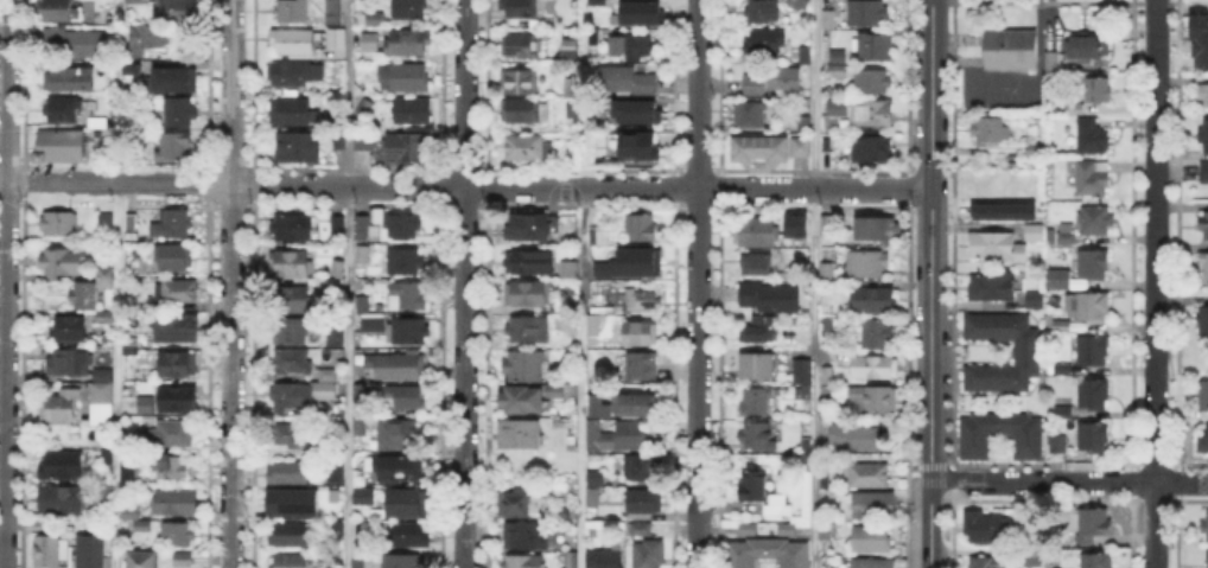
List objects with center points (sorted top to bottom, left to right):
building: (597, 1)
building: (138, 2)
building: (800, 5)
building: (62, 9)
building: (519, 9)
building: (178, 11)
building: (333, 11)
building: (411, 11)
building: (293, 12)
building: (641, 13)
building: (759, 13)
building: (867, 14)
building: (375, 19)
building: (829, 21)
building: (593, 37)
building: (1201, 37)
building: (147, 38)
building: (337, 39)
building: (765, 42)
building: (293, 43)
building: (369, 43)
building: (76, 44)
building: (409, 44)
building: (1086, 45)
building: (520, 47)
building: (875, 47)
building: (634, 49)
building: (1011, 49)
building: (572, 50)
flagpole: (959, 52)
building: (807, 55)
building: (1054, 62)
building: (838, 65)
building: (128, 66)
building: (294, 75)
building: (170, 77)
building: (408, 78)
building: (63, 82)
building: (624, 82)
building: (872, 82)
building: (520, 83)
building: (773, 83)
building: (374, 85)
building: (572, 89)
parking lot: (996, 91)
road: (348, 92)
building: (1098, 92)
building: (1204, 97)
building: (364, 108)
building: (837, 108)
building: (63, 111)
building: (522, 111)
building: (635, 111)
building: (291, 113)
building: (413, 113)
building: (875, 113)
building: (179, 115)
building: (750, 117)
building: (101, 123)
building: (806, 126)
building: (990, 129)
building: (1092, 138)
building: (1204, 138)
building: (364, 141)
building: (63, 147)
building: (644, 147)
building: (174, 148)
building: (526, 148)
building: (299, 149)
building: (408, 149)
building: (768, 149)
building: (1032, 149)
building: (870, 151)
building: (1204, 172)
road: (114, 180)
building: (1093, 180)
road: (288, 186)
road: (638, 187)
building: (1003, 210)
building: (107, 222)
building: (1095, 222)
building: (133, 223)
building: (172, 223)
building: (59, 224)
building: (793, 224)
building: (827, 224)
building: (402, 226)
building: (530, 226)
building: (339, 228)
building: (363, 228)
building: (1204, 228)
building: (293, 229)
building: (643, 229)
building: (1030, 229)
building: (373, 230)
building: (871, 230)
building: (756, 234)
building: (1062, 235)
road: (930, 236)
building: (598, 237)
building: (1068, 240)
building: (993, 243)
building: (339, 248)
building: (363, 255)
building: (177, 259)
building: (64, 262)
building: (406, 262)
building: (529, 262)
building: (630, 263)
building: (291, 266)
building: (756, 266)
building: (867, 266)
building: (1093, 266)
building: (337, 267)
building: (1204, 269)
building: (571, 270)
building: (827, 273)
building: (805, 274)
building: (104, 277)
building: (1056, 280)
road: (2, 283)
road: (116, 283)
road: (230, 283)
road: (463, 283)
road: (581, 283)
road: (697, 283)
road: (814, 283)
building: (988, 283)
road: (1155, 283)
building: (177, 293)
building: (528, 294)
building: (1031, 296)
building: (83, 298)
building: (295, 298)
building: (407, 298)
building: (770, 299)
building: (873, 299)
building: (644, 301)
building: (364, 305)
building: (1087, 308)
building: (103, 317)
building: (1203, 323)
building: (374, 324)
building: (1060, 325)
building: (600, 326)
building: (828, 327)
building: (176, 328)
building: (71, 330)
building: (529, 330)
building: (759, 331)
building: (291, 332)
building: (406, 332)
building: (877, 333)
building: (642, 334)
building: (336, 338)
building: (133, 345)
building: (1091, 351)
building: (1026, 353)
building: (293, 363)
building: (70, 364)
building: (178, 365)
building: (757, 365)
building: (400, 366)
building: (524, 366)
building: (643, 368)
building: (877, 369)
building: (1060, 370)
building: (805, 371)
building: (104, 374)
building: (829, 374)
building: (328, 376)
road: (348, 377)
building: (555, 389)
building: (323, 393)
building: (361, 395)
building: (1094, 395)
building: (292, 396)
building: (1203, 396)
building: (405, 398)
building: (1048, 398)
building: (523, 400)
building: (179, 401)
building: (755, 401)
building: (873, 401)
building: (102, 406)
building: (147, 406)
building: (635, 406)
building: (61, 407)
building: (1063, 413)
building: (361, 428)
building: (169, 435)
building: (292, 435)
building: (398, 435)
building: (521, 435)
building: (617, 436)
building: (758, 438)
building: (856, 439)
building: (1093, 439)
building: (1204, 441)
building: (1057, 443)
building: (795, 445)
building: (808, 445)
building: (1028, 446)
building: (802, 462)
building: (63, 466)
building: (642, 467)
building: (172, 468)
building: (127, 470)
building: (332, 470)
building: (396, 471)
building: (288, 473)
road: (956, 474)
road: (922, 477)
building: (870, 478)
building: (132, 480)
road: (1094, 483)
building: (755, 487)
building: (595, 490)
building: (361, 494)
building: (827, 494)
building: (107, 496)
building: (573, 498)
building: (61, 500)
building: (646, 503)
building: (174, 504)
building: (294, 504)
building: (407, 504)
building: (513, 505)
building: (776, 505)
building: (873, 505)
building: (365, 511)
building: (337, 512)
building: (129, 515)
road: (930, 521)
road: (914, 523)
building: (145, 526)
building: (1094, 526)
building: (1206, 526)
building: (641, 530)
building: (826, 530)
building: (986, 530)
building: (290, 536)
building: (414, 536)
building: (526, 537)
building: (179, 542)
building: (873, 542)
building: (93, 550)
building: (764, 550)
building: (51, 551)
building: (648, 555)
building: (1032, 559)
building: (1206, 559)
building: (142, 560)
building: (604, 560)
building: (290, 561)
building: (402, 561)
building: (572, 561)
building: (1096, 561)
building: (524, 562)
building: (875, 563)
building: (988, 563)
building: (360, 564)

